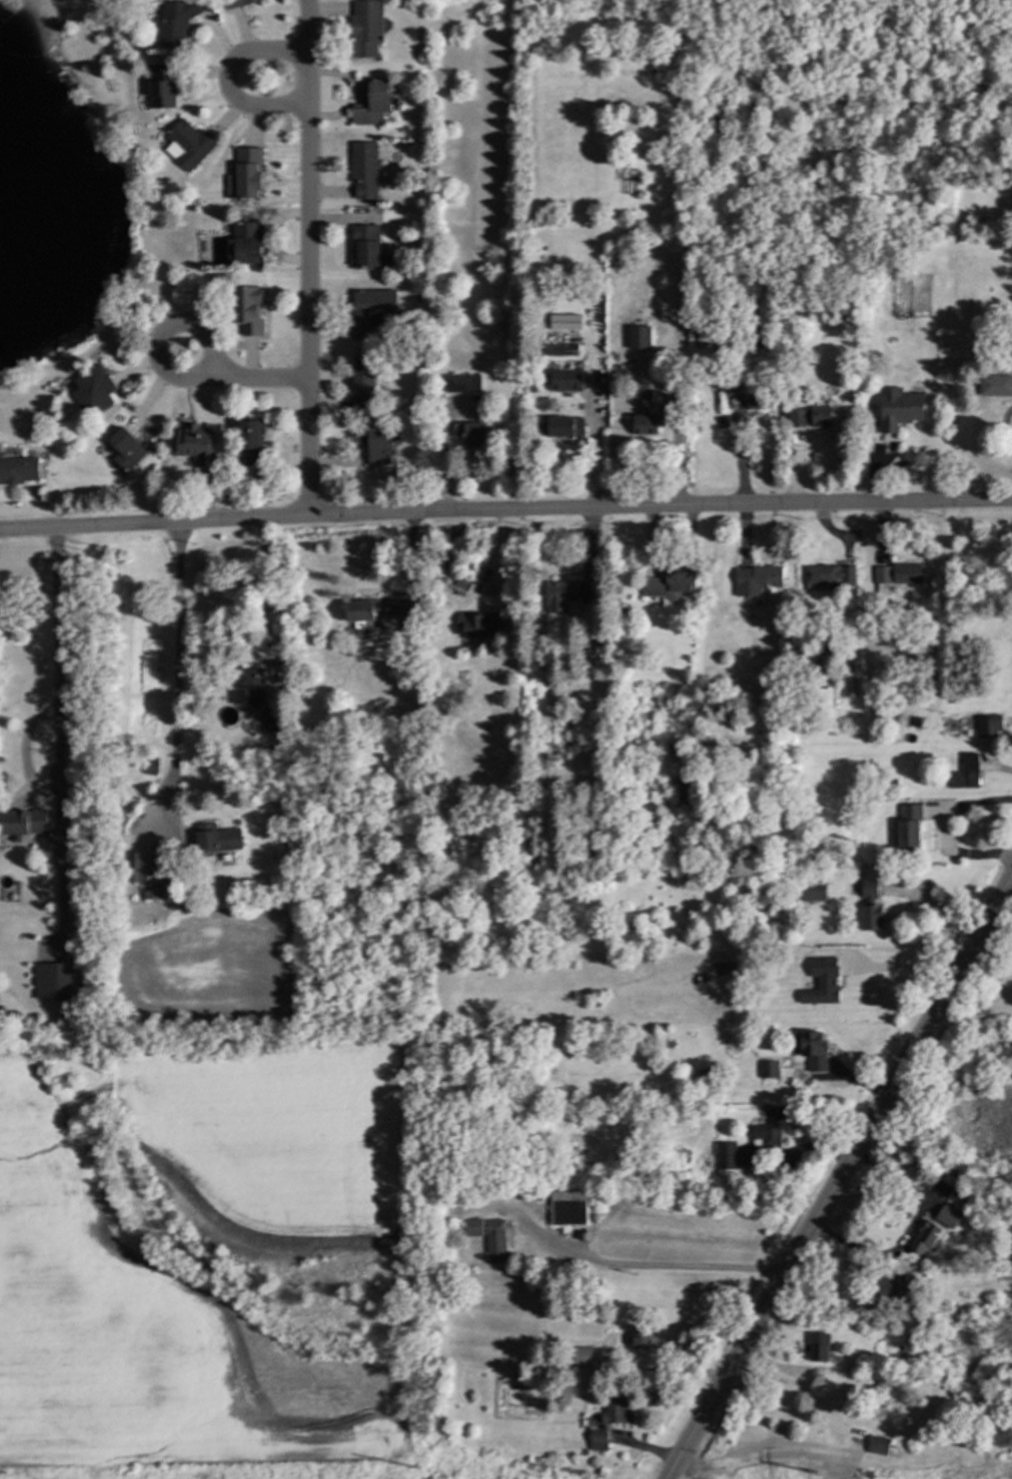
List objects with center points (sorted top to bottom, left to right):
building: (238, 3)
building: (175, 22)
building: (366, 28)
road: (226, 78)
building: (160, 85)
building: (374, 102)
building: (363, 171)
road: (146, 218)
building: (245, 243)
building: (369, 249)
building: (769, 253)
road: (307, 258)
building: (747, 281)
road: (168, 285)
building: (369, 309)
building: (247, 311)
road: (168, 328)
building: (716, 335)
building: (636, 337)
building: (563, 349)
building: (797, 354)
building: (620, 369)
building: (736, 372)
building: (570, 379)
road: (255, 380)
building: (362, 381)
building: (466, 383)
building: (997, 384)
building: (736, 387)
building: (90, 391)
building: (759, 400)
building: (902, 407)
building: (649, 415)
building: (814, 417)
building: (566, 426)
building: (543, 427)
building: (474, 433)
building: (249, 442)
building: (193, 443)
building: (372, 443)
building: (125, 449)
building: (19, 470)
road: (720, 506)
road: (214, 521)
building: (900, 575)
building: (831, 576)
building: (765, 578)
building: (466, 581)
building: (672, 581)
road: (264, 584)
building: (968, 593)
building: (570, 594)
building: (805, 609)
building: (406, 610)
building: (361, 612)
building: (483, 623)
building: (604, 640)
building: (920, 646)
road: (175, 648)
building: (587, 652)
road: (56, 656)
building: (827, 657)
building: (921, 657)
building: (603, 661)
building: (821, 673)
building: (250, 687)
building: (706, 699)
building: (824, 699)
building: (941, 716)
building: (268, 720)
building: (992, 725)
building: (969, 771)
building: (894, 784)
building: (780, 816)
building: (23, 821)
building: (912, 826)
building: (894, 831)
road: (945, 833)
building: (216, 839)
building: (150, 875)
building: (816, 890)
building: (873, 905)
road: (933, 907)
building: (630, 922)
building: (614, 923)
building: (640, 923)
building: (735, 964)
road: (903, 966)
building: (52, 981)
building: (825, 985)
road: (972, 1021)
building: (811, 1041)
building: (772, 1068)
building: (706, 1074)
road: (887, 1093)
building: (778, 1126)
crop: (278, 1147)
building: (728, 1158)
building: (972, 1187)
building: (962, 1197)
building: (571, 1209)
building: (992, 1210)
building: (951, 1216)
building: (1011, 1224)
building: (477, 1226)
road: (908, 1231)
building: (927, 1238)
building: (499, 1241)
road: (686, 1266)
building: (899, 1288)
building: (946, 1304)
road: (824, 1307)
crop: (146, 1338)
building: (643, 1339)
building: (821, 1347)
building: (586, 1355)
building: (866, 1356)
road: (671, 1371)
road: (794, 1383)
road: (714, 1396)
building: (883, 1396)
building: (614, 1418)
building: (882, 1445)
power tower: (442, 1465)
power tower: (802, 1469)
building: (871, 1473)

